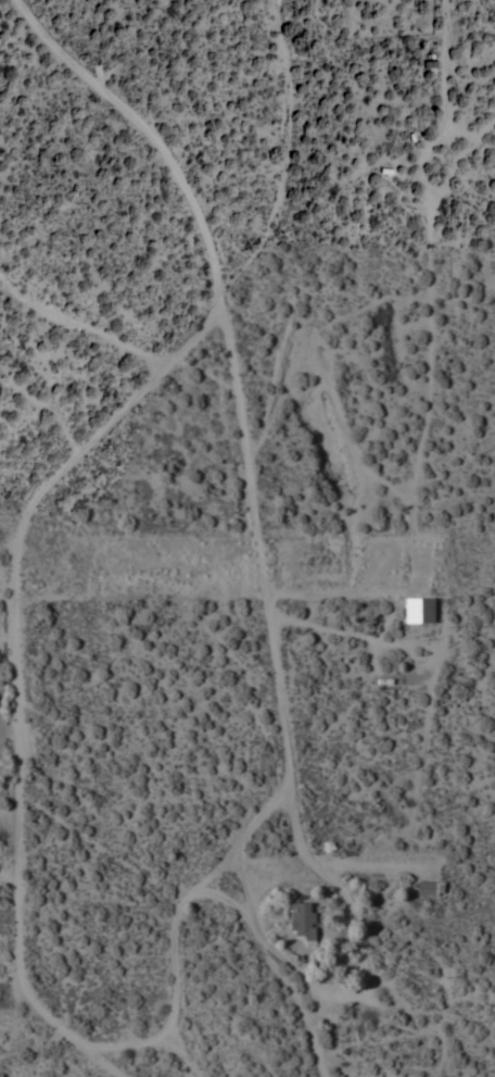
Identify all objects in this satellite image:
road: (152, 134)
building: (420, 610)
road: (327, 864)
building: (430, 887)
road: (250, 905)
building: (303, 924)
road: (90, 1045)

